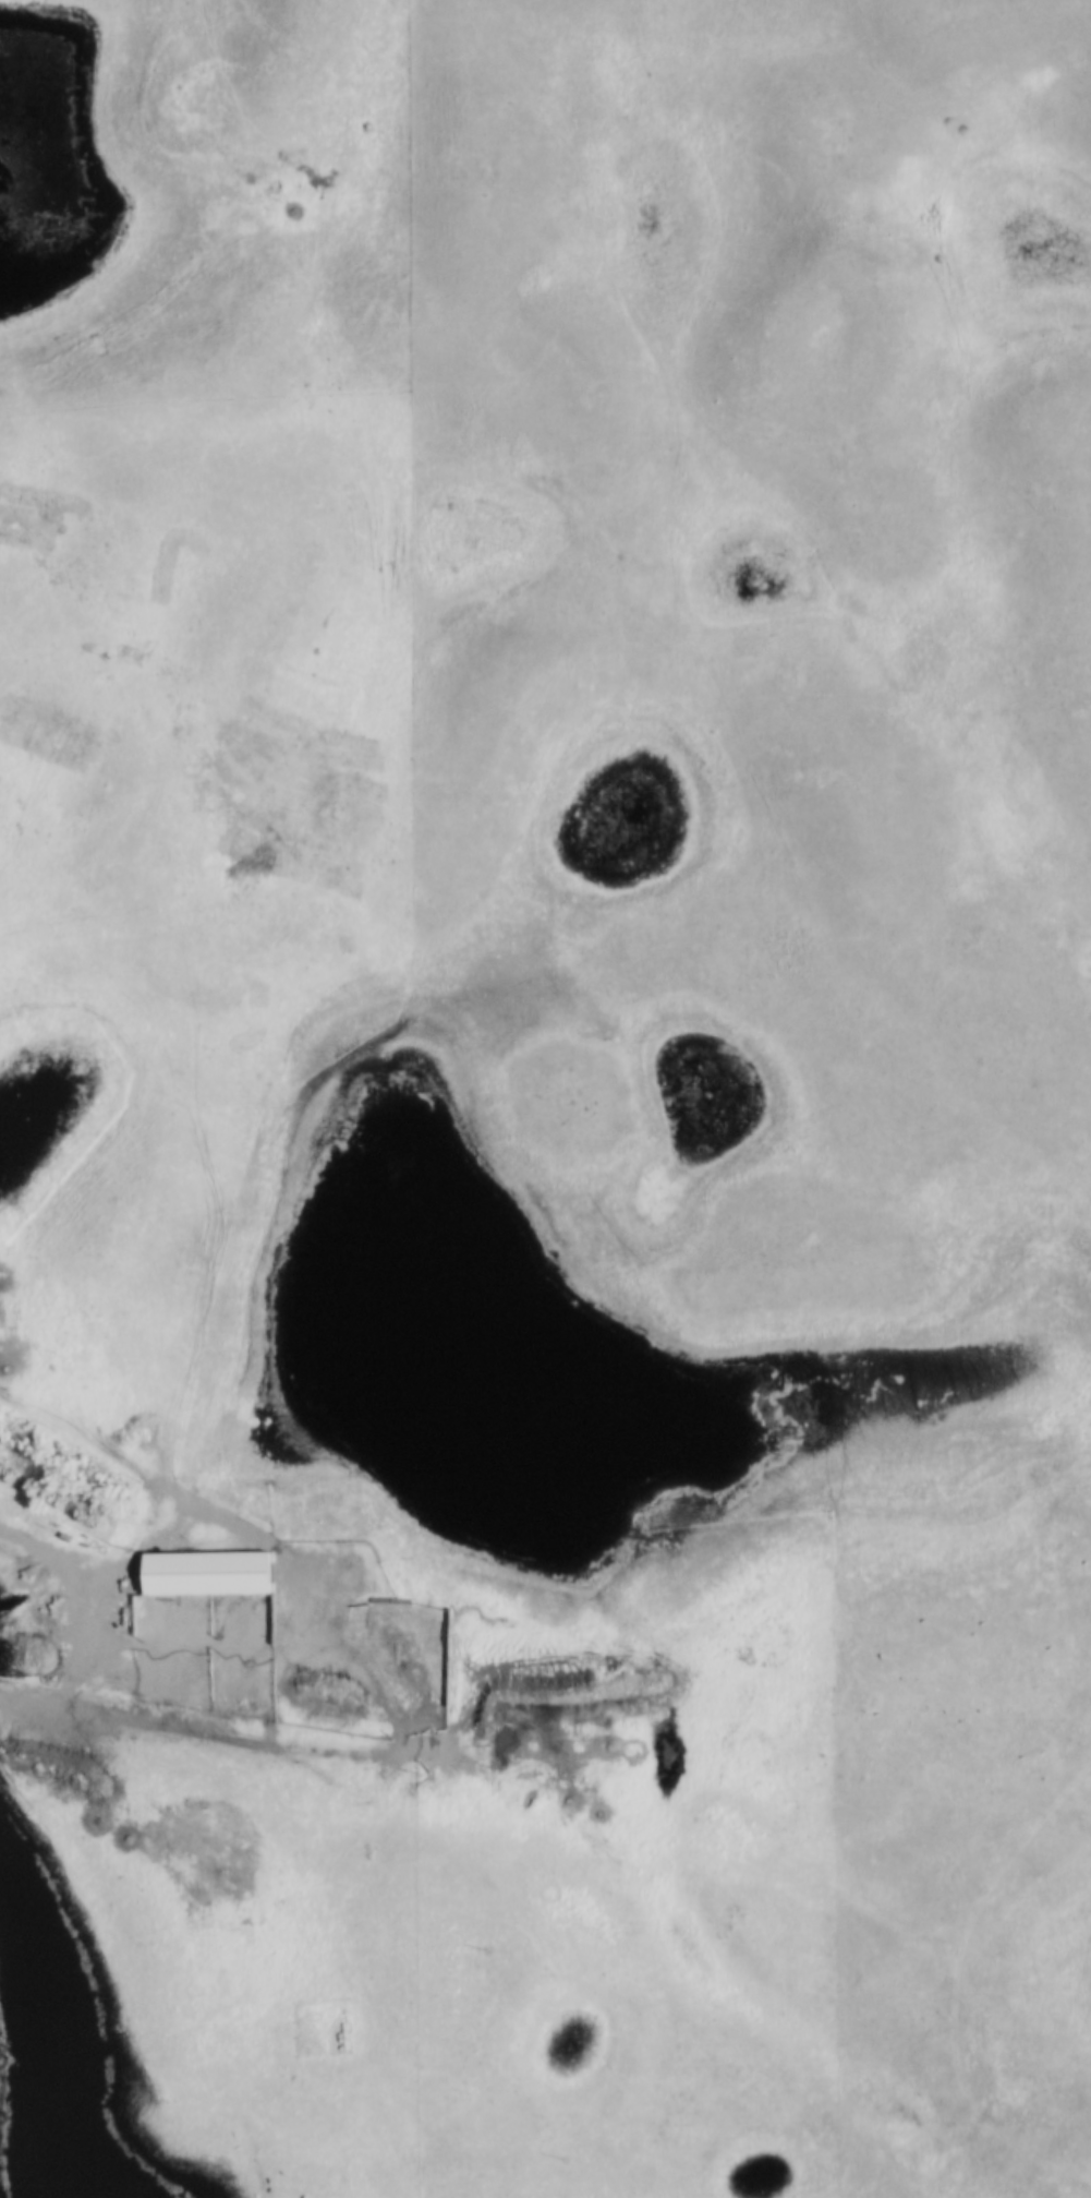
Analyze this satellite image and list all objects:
building: (207, 1572)
road: (65, 1630)

